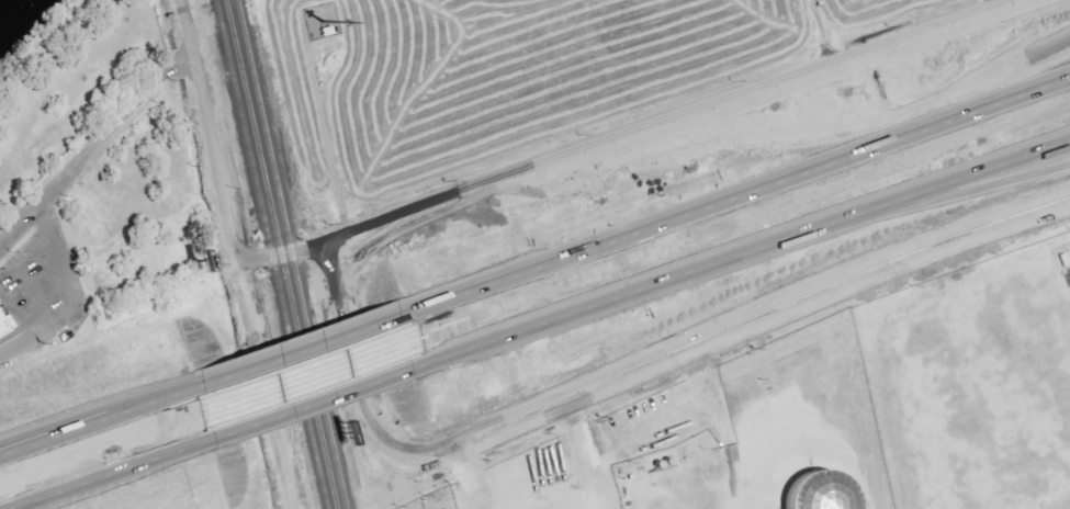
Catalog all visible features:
road: (938, 103)
road: (675, 122)
road: (90, 144)
road: (729, 197)
road: (277, 252)
railway: (277, 253)
road: (230, 255)
railway: (267, 255)
railway: (286, 255)
road: (745, 255)
road: (23, 323)
building: (4, 327)
parking lot: (16, 330)
road: (729, 333)
road: (345, 351)
road: (296, 352)
road: (317, 405)
road: (102, 420)
road: (592, 456)
road: (115, 475)
building: (810, 491)

